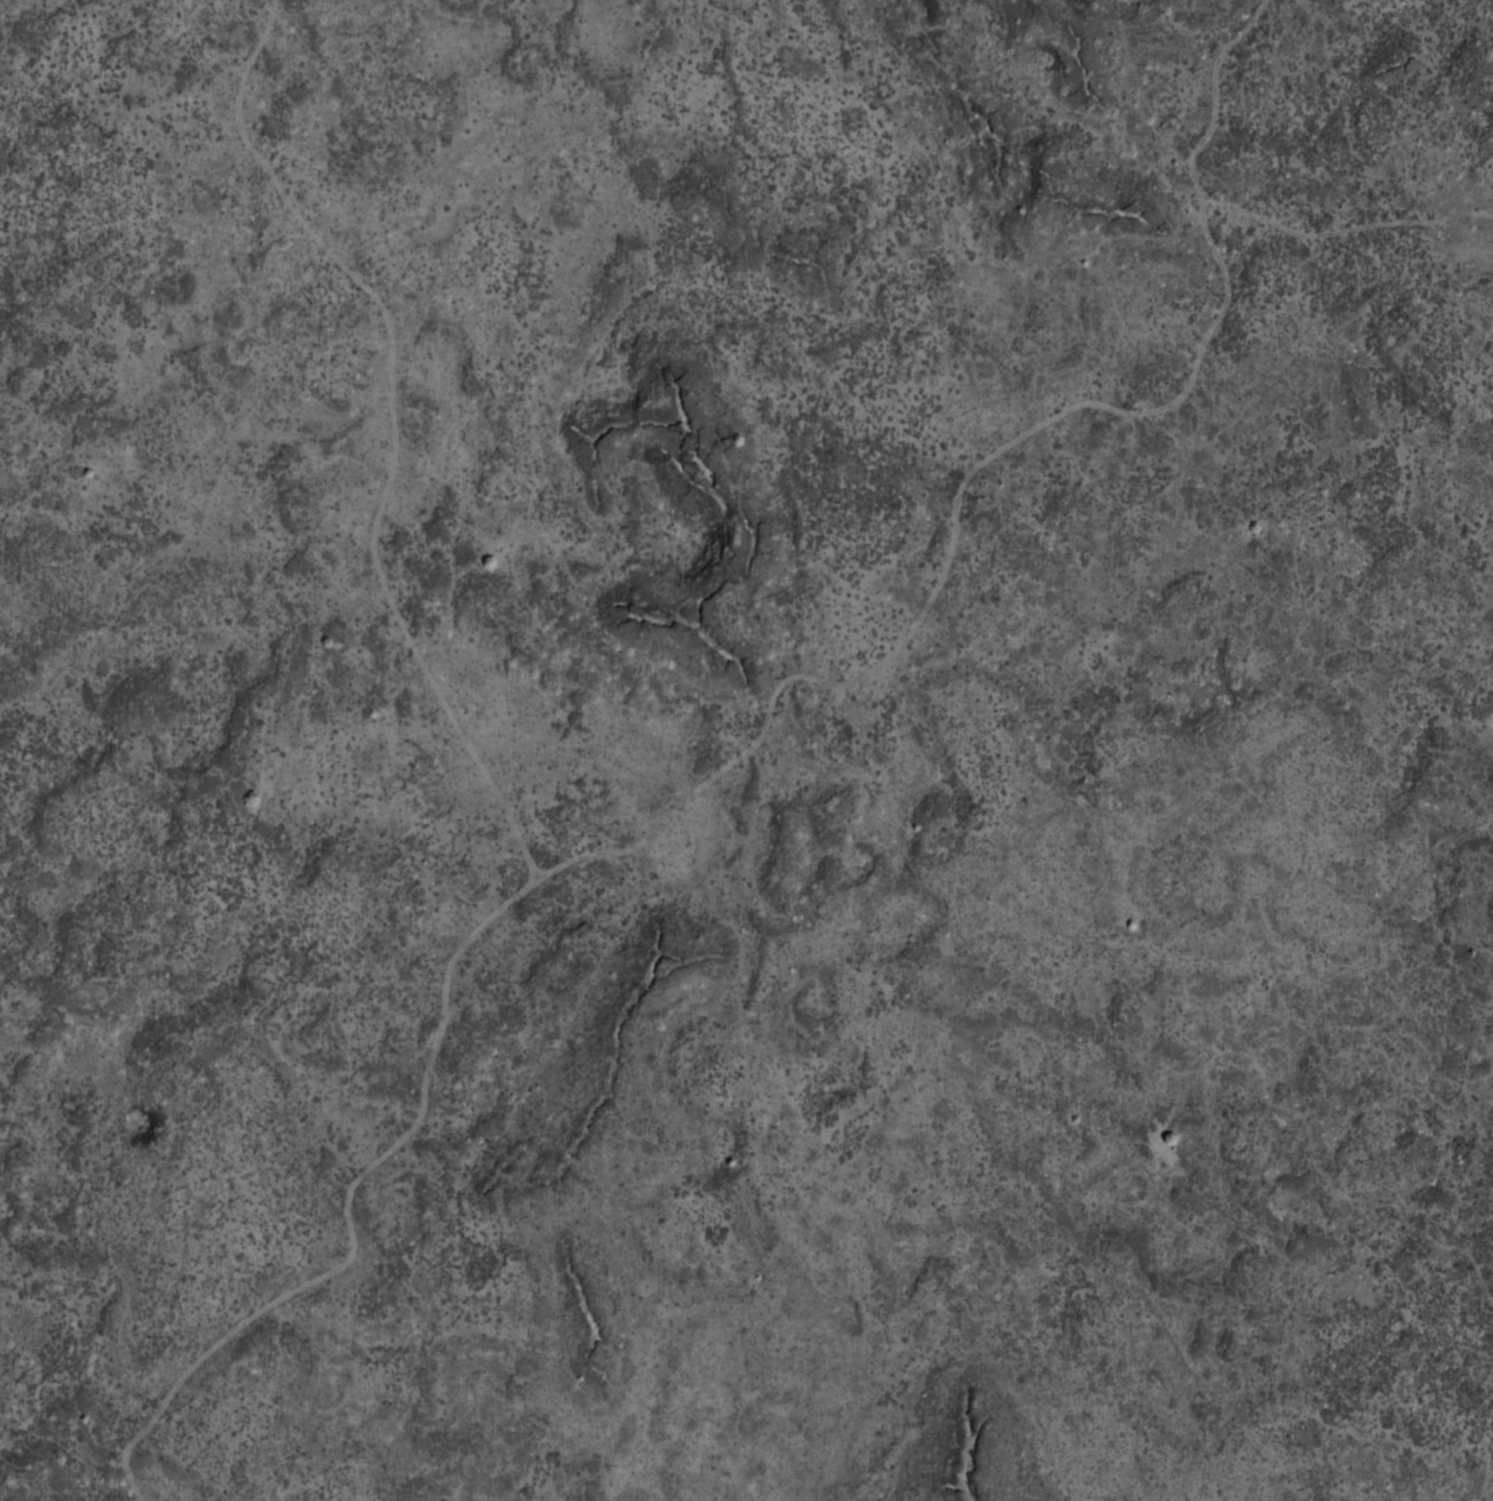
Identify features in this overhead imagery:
road: (753, 745)

